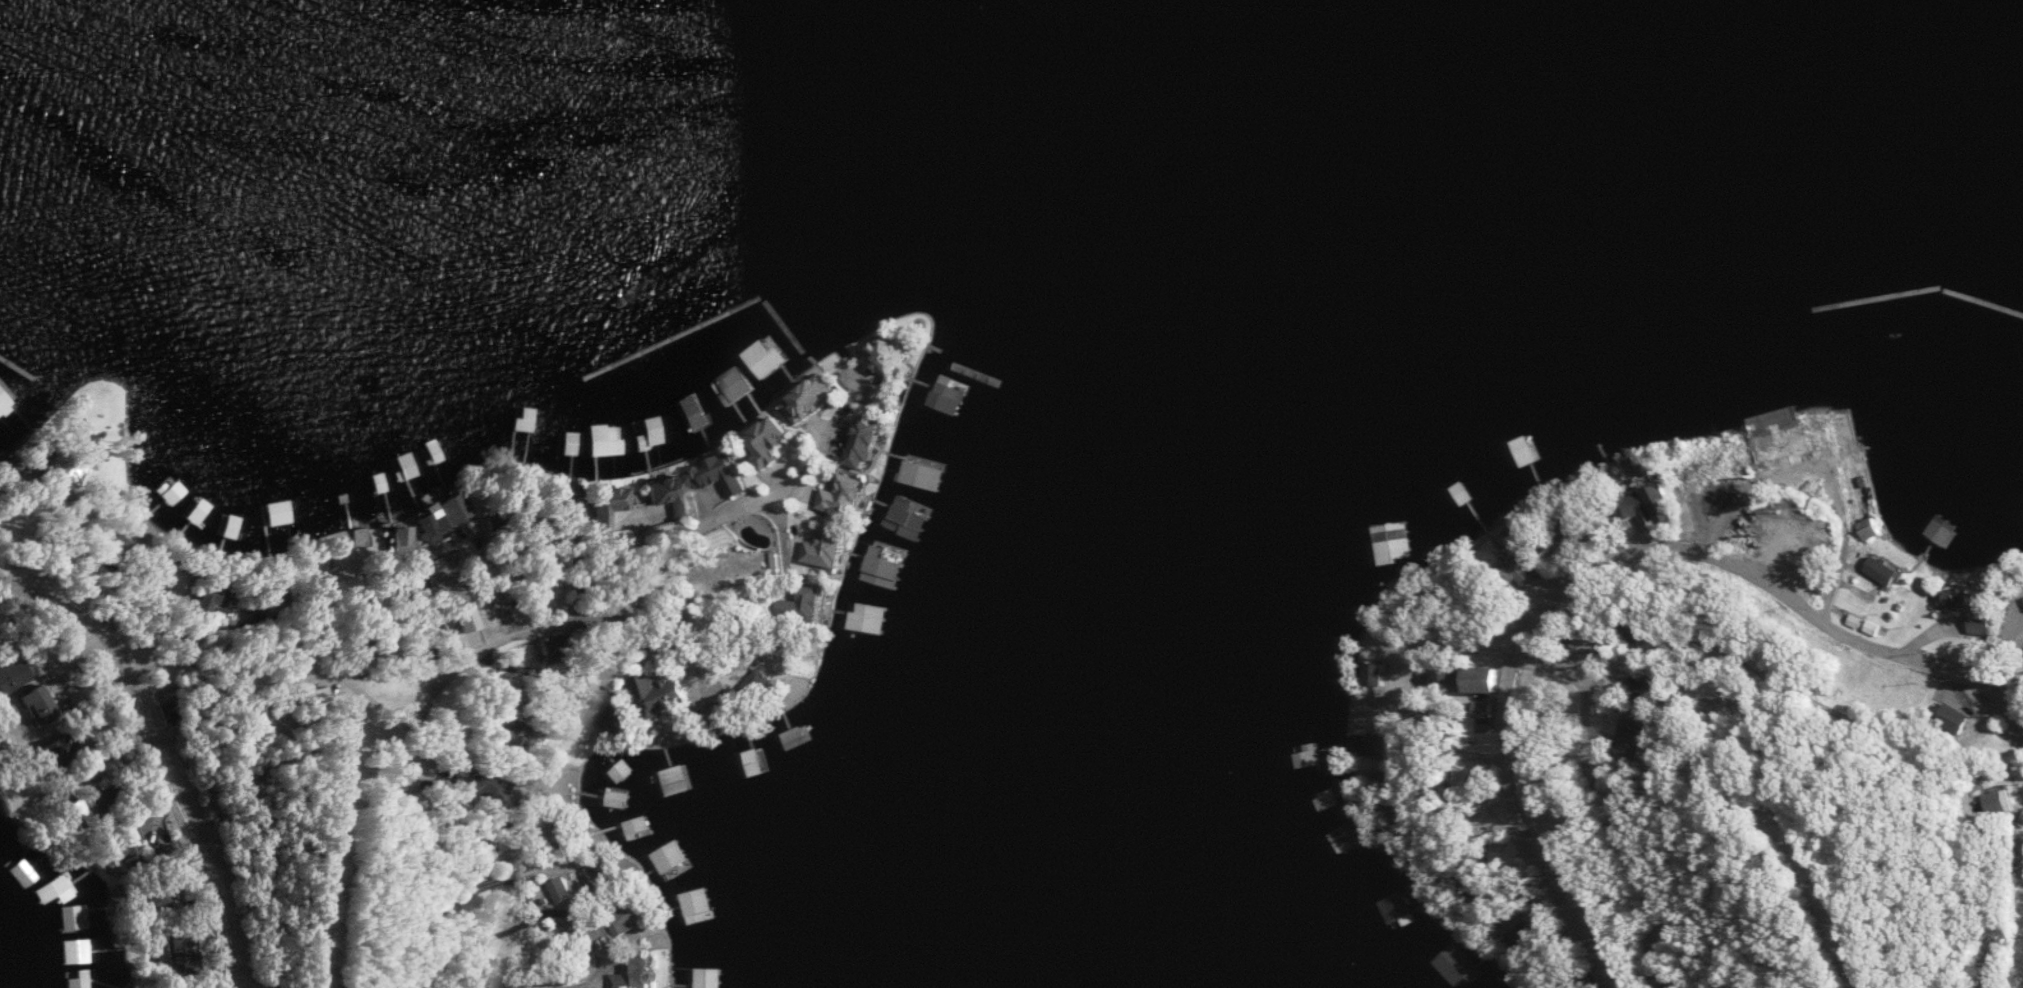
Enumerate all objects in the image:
building: (896, 352)
building: (769, 358)
building: (732, 385)
building: (813, 398)
building: (6, 399)
building: (945, 417)
road: (833, 421)
building: (1587, 424)
building: (606, 439)
building: (572, 443)
building: (867, 443)
building: (1795, 443)
building: (770, 444)
building: (1525, 451)
building: (69, 468)
building: (923, 472)
building: (1730, 472)
building: (726, 473)
road: (1827, 481)
building: (1855, 483)
building: (173, 493)
building: (672, 493)
building: (1459, 493)
building: (847, 497)
building: (1670, 503)
building: (612, 504)
building: (196, 509)
building: (1636, 512)
building: (265, 514)
building: (446, 515)
building: (910, 516)
building: (1395, 525)
road: (84, 531)
building: (831, 549)
building: (452, 564)
building: (1525, 569)
building: (1887, 570)
road: (1596, 585)
building: (211, 599)
building: (808, 605)
building: (1971, 610)
building: (874, 619)
building: (2014, 632)
road: (485, 644)
road: (1593, 652)
building: (10, 678)
road: (1736, 679)
building: (1493, 680)
road: (359, 690)
road: (1461, 690)
building: (1662, 690)
building: (329, 696)
building: (668, 696)
building: (1384, 703)
building: (43, 704)
building: (614, 716)
road: (269, 722)
building: (519, 734)
building: (796, 736)
building: (1648, 741)
road: (151, 754)
building: (621, 771)
building: (675, 780)
building: (494, 789)
building: (618, 799)
building: (2010, 803)
building: (93, 809)
building: (638, 825)
building: (1338, 833)
building: (133, 856)
building: (24, 873)
building: (600, 878)
building: (69, 886)
building: (163, 892)
building: (572, 892)
building: (697, 904)
building: (1400, 909)
building: (74, 918)
building: (633, 920)
building: (187, 950)
building: (78, 952)
road: (623, 957)
building: (1457, 965)
building: (642, 973)
building: (709, 977)
building: (77, 982)
building: (1675, 985)

